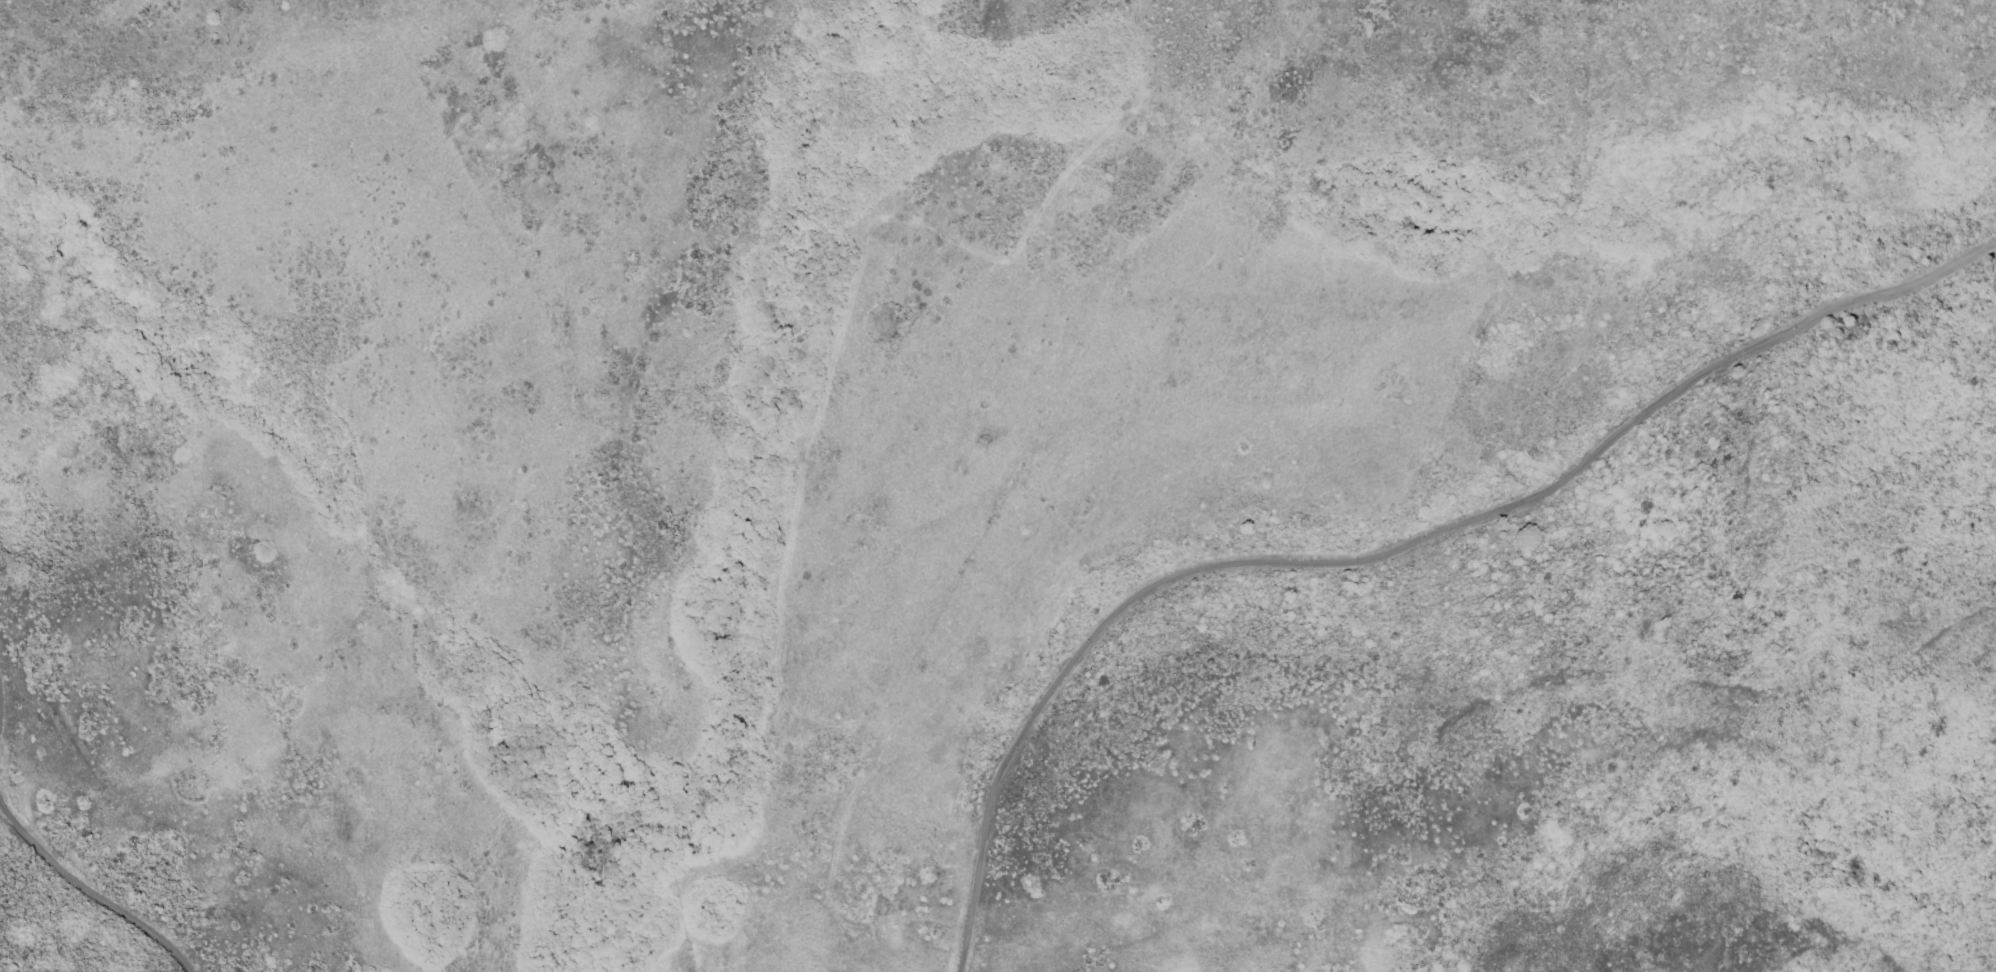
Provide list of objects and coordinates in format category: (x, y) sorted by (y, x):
road: (1387, 553)
road: (89, 900)

